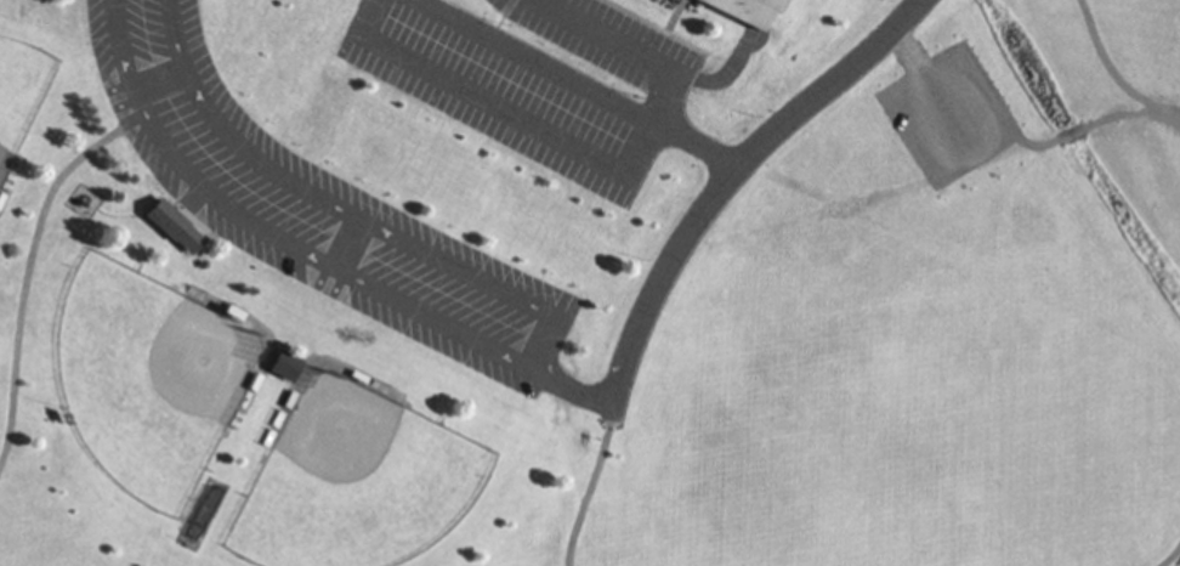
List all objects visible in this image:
building: (750, 10)
road: (634, 50)
road: (1111, 74)
parking lot: (535, 81)
road: (577, 81)
road: (726, 174)
parking lot: (314, 205)
building: (169, 221)
road: (316, 251)
park: (590, 283)
road: (28, 289)
road: (592, 487)
road: (1172, 559)

